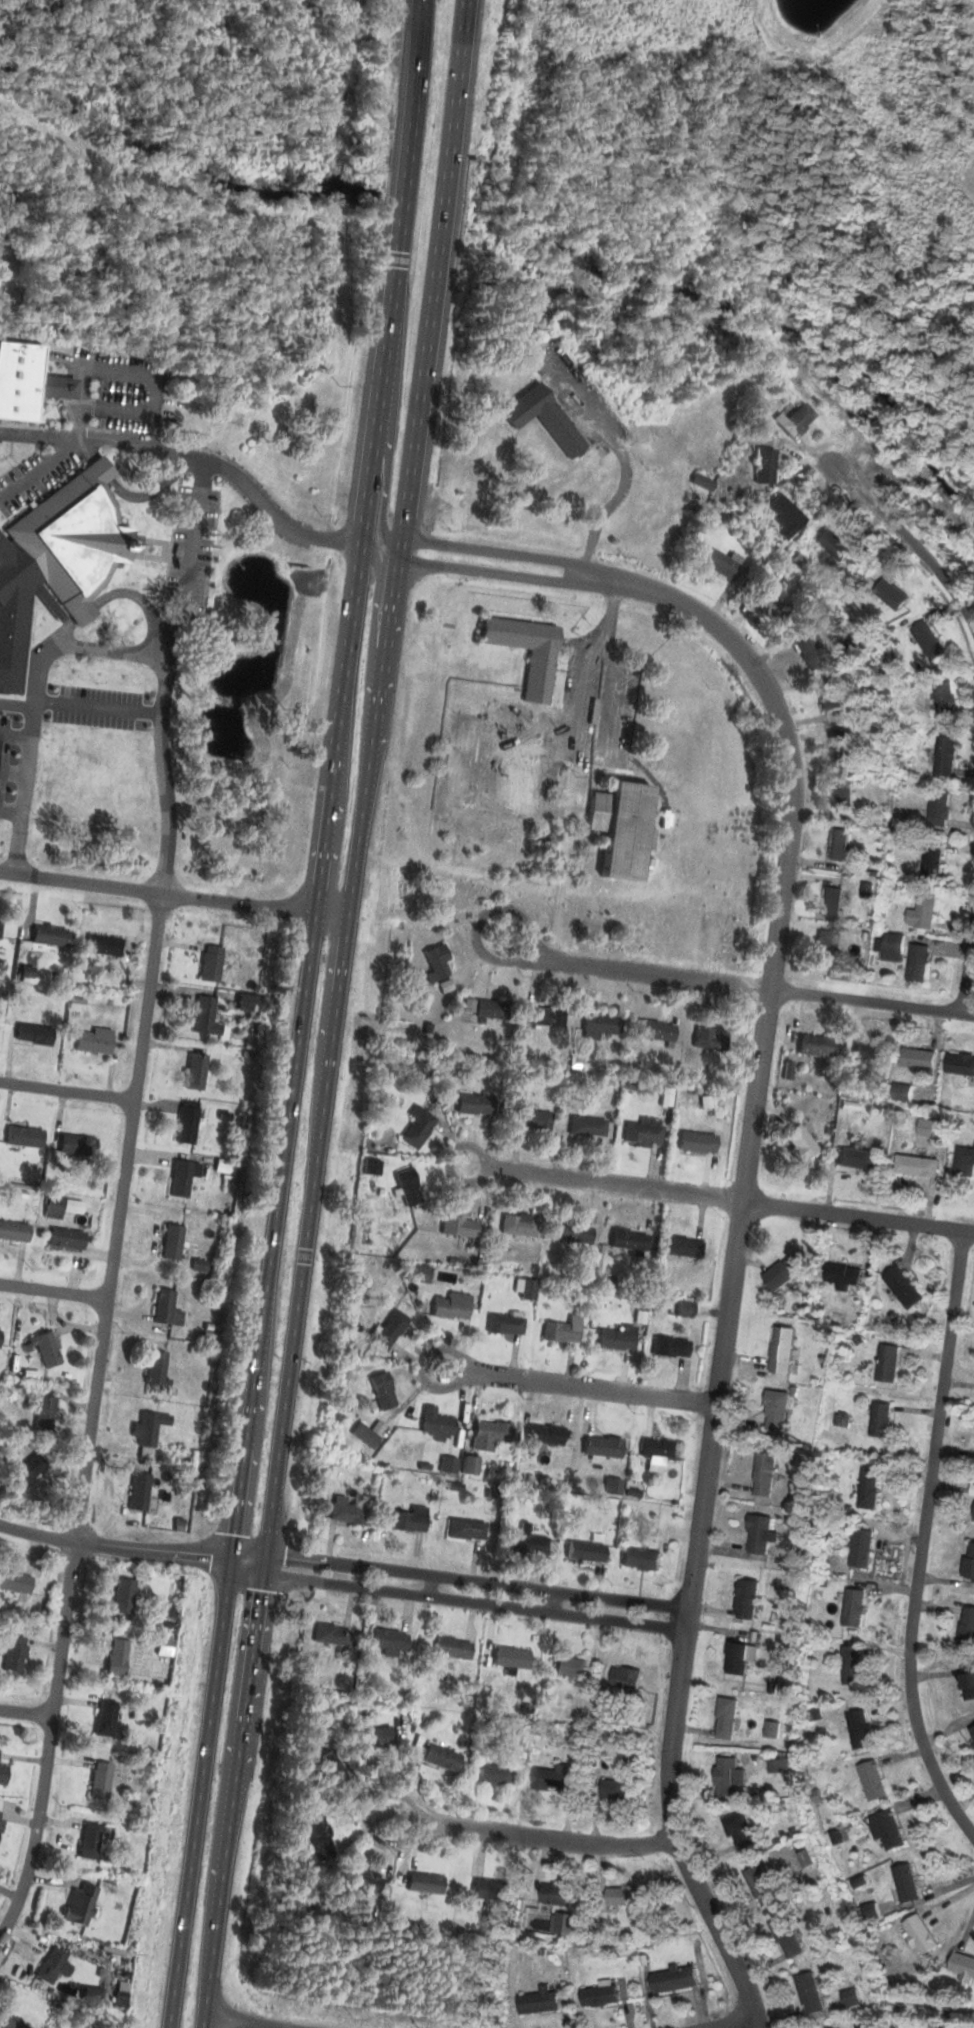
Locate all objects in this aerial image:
road: (461, 56)
road: (396, 273)
road: (429, 325)
road: (122, 371)
building: (20, 380)
road: (118, 408)
building: (794, 418)
building: (544, 419)
road: (193, 456)
road: (624, 459)
building: (764, 464)
road: (36, 470)
road: (386, 481)
road: (131, 496)
building: (784, 513)
building: (75, 538)
building: (832, 542)
road: (912, 543)
road: (192, 551)
road: (496, 551)
building: (720, 562)
road: (492, 572)
building: (890, 593)
road: (116, 595)
building: (768, 603)
building: (18, 611)
road: (373, 624)
building: (926, 639)
building: (808, 646)
building: (537, 677)
building: (830, 693)
building: (943, 697)
road: (18, 705)
road: (100, 707)
road: (164, 717)
road: (338, 730)
road: (16, 736)
building: (839, 746)
road: (576, 747)
building: (944, 756)
road: (29, 758)
building: (526, 761)
road: (14, 772)
building: (843, 798)
building: (939, 809)
road: (11, 811)
building: (622, 829)
building: (838, 844)
building: (932, 862)
road: (173, 895)
building: (830, 902)
building: (922, 909)
building: (0, 930)
building: (49, 936)
building: (893, 945)
building: (103, 946)
building: (822, 947)
building: (918, 961)
road: (966, 961)
building: (210, 964)
building: (435, 965)
road: (637, 974)
road: (871, 1002)
building: (492, 1010)
building: (204, 1018)
building: (545, 1018)
building: (601, 1025)
building: (655, 1031)
building: (34, 1035)
building: (708, 1040)
building: (94, 1042)
building: (812, 1044)
building: (870, 1052)
building: (917, 1057)
building: (959, 1063)
building: (414, 1071)
building: (195, 1072)
road: (66, 1092)
building: (474, 1105)
building: (533, 1121)
building: (186, 1126)
building: (586, 1127)
building: (927, 1127)
building: (417, 1130)
building: (641, 1133)
building: (24, 1138)
building: (797, 1139)
building: (696, 1143)
building: (77, 1147)
building: (856, 1157)
building: (964, 1160)
building: (915, 1165)
building: (182, 1178)
road: (595, 1182)
building: (408, 1188)
building: (60, 1207)
road: (857, 1217)
building: (517, 1226)
building: (459, 1228)
building: (13, 1232)
building: (574, 1233)
building: (66, 1239)
building: (171, 1242)
building: (629, 1242)
building: (684, 1248)
road: (734, 1254)
building: (783, 1270)
building: (842, 1274)
building: (413, 1275)
road: (300, 1282)
building: (902, 1286)
building: (527, 1291)
road: (53, 1292)
building: (163, 1307)
building: (452, 1307)
building: (685, 1310)
building: (504, 1326)
building: (391, 1328)
building: (561, 1331)
building: (616, 1340)
building: (670, 1349)
building: (780, 1349)
building: (45, 1351)
building: (886, 1362)
building: (155, 1369)
road: (578, 1385)
building: (382, 1392)
building: (777, 1409)
building: (44, 1414)
road: (91, 1417)
building: (879, 1419)
building: (435, 1424)
building: (149, 1430)
building: (489, 1436)
building: (543, 1436)
building: (364, 1437)
building: (603, 1448)
building: (660, 1454)
building: (26, 1470)
road: (241, 1471)
building: (763, 1474)
building: (867, 1489)
building: (971, 1489)
building: (138, 1493)
building: (347, 1515)
building: (973, 1515)
building: (408, 1521)
building: (466, 1531)
building: (758, 1534)
road: (919, 1542)
building: (530, 1544)
road: (114, 1547)
building: (859, 1547)
building: (586, 1553)
traffic signals: (230, 1559)
building: (642, 1560)
building: (968, 1561)
traffic signals: (262, 1573)
road: (457, 1578)
building: (15, 1584)
road: (431, 1585)
building: (123, 1597)
road: (455, 1598)
building: (745, 1598)
road: (553, 1601)
building: (851, 1606)
building: (966, 1626)
building: (331, 1636)
building: (389, 1641)
building: (163, 1647)
building: (452, 1649)
building: (13, 1655)
building: (117, 1658)
building: (511, 1658)
building: (738, 1658)
building: (850, 1664)
building: (570, 1668)
building: (626, 1679)
building: (967, 1685)
road: (25, 1712)
building: (725, 1718)
building: (105, 1720)
building: (770, 1728)
building: (857, 1728)
building: (971, 1733)
building: (375, 1739)
building: (442, 1759)
building: (333, 1773)
building: (2, 1775)
building: (496, 1776)
building: (724, 1777)
building: (551, 1780)
building: (870, 1780)
building: (101, 1781)
building: (618, 1792)
building: (1, 1810)
building: (885, 1830)
building: (738, 1831)
road: (533, 1837)
building: (320, 1841)
building: (89, 1843)
building: (363, 1882)
building: (903, 1882)
building: (759, 1884)
building: (425, 1885)
building: (492, 1892)
building: (557, 1896)
building: (625, 1898)
building: (79, 1906)
building: (565, 1926)
building: (917, 1934)
building: (785, 1938)
building: (960, 1965)
building: (49, 1966)
building: (674, 1980)
building: (808, 1992)
building: (849, 1997)
building: (600, 1998)
building: (540, 2003)
building: (7, 2021)
road: (233, 2022)
road: (734, 2022)

